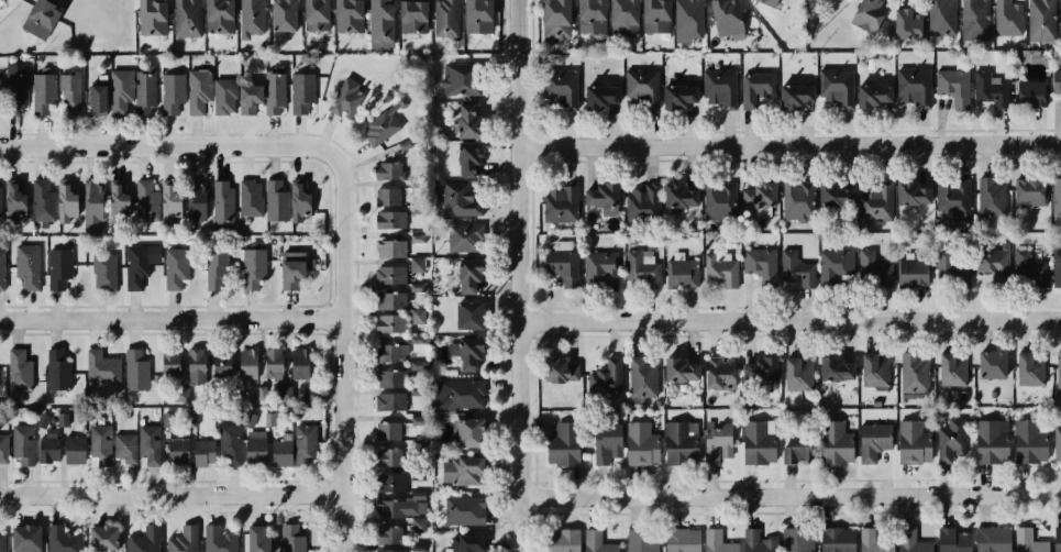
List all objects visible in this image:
building: (772, 2)
building: (863, 14)
building: (278, 15)
building: (311, 15)
building: (474, 15)
building: (217, 16)
building: (246, 16)
building: (411, 16)
building: (723, 16)
building: (147, 18)
building: (185, 18)
building: (345, 18)
building: (443, 18)
building: (651, 18)
building: (37, 19)
building: (551, 19)
building: (620, 19)
building: (588, 20)
building: (683, 20)
building: (1006, 20)
building: (379, 21)
building: (971, 21)
building: (1045, 21)
building: (938, 22)
building: (900, 24)
building: (454, 76)
building: (0, 80)
building: (1058, 80)
building: (640, 85)
building: (832, 86)
building: (951, 86)
building: (557, 87)
building: (718, 87)
building: (911, 87)
building: (143, 89)
building: (597, 89)
building: (870, 89)
building: (987, 89)
building: (169, 90)
building: (196, 90)
building: (273, 90)
building: (675, 90)
building: (14, 91)
building: (120, 91)
building: (758, 91)
building: (793, 92)
building: (1028, 92)
building: (339, 93)
building: (41, 95)
building: (301, 95)
building: (67, 96)
building: (220, 96)
building: (246, 96)
building: (93, 97)
building: (463, 118)
building: (378, 128)
road: (793, 145)
road: (173, 148)
building: (463, 158)
building: (385, 166)
building: (676, 189)
building: (909, 189)
building: (1026, 191)
building: (596, 192)
building: (755, 192)
building: (1058, 194)
building: (795, 196)
building: (298, 197)
building: (385, 197)
building: (458, 197)
building: (993, 197)
building: (114, 198)
building: (195, 198)
building: (247, 198)
building: (830, 198)
building: (274, 199)
building: (14, 200)
building: (40, 200)
building: (152, 200)
building: (219, 200)
building: (638, 200)
building: (718, 200)
building: (951, 200)
building: (64, 201)
building: (559, 201)
building: (170, 202)
building: (870, 205)
building: (90, 206)
building: (0, 209)
building: (387, 221)
building: (462, 235)
building: (388, 249)
building: (756, 263)
building: (1057, 263)
building: (136, 264)
building: (418, 264)
building: (598, 264)
building: (988, 265)
building: (1026, 265)
building: (26, 266)
building: (99, 266)
building: (560, 266)
building: (835, 266)
building: (217, 267)
building: (289, 267)
building: (642, 267)
building: (174, 268)
building: (252, 268)
building: (794, 268)
building: (873, 268)
building: (1, 269)
building: (58, 269)
building: (721, 271)
building: (909, 272)
building: (469, 273)
building: (947, 273)
building: (681, 274)
building: (388, 275)
road: (526, 276)
building: (387, 300)
building: (474, 311)
building: (418, 317)
road: (794, 318)
road: (174, 319)
building: (384, 325)
building: (419, 339)
building: (465, 350)
road: (347, 352)
building: (387, 354)
building: (274, 362)
building: (297, 363)
building: (167, 364)
building: (195, 364)
building: (245, 364)
building: (986, 364)
building: (552, 365)
building: (676, 365)
building: (55, 366)
building: (133, 366)
building: (218, 366)
building: (832, 366)
building: (16, 367)
building: (99, 367)
building: (1025, 367)
building: (756, 368)
building: (876, 368)
building: (949, 368)
building: (1060, 371)
building: (718, 372)
building: (914, 372)
building: (793, 374)
building: (641, 375)
building: (603, 379)
building: (388, 380)
building: (284, 393)
building: (462, 393)
building: (179, 394)
building: (261, 394)
building: (309, 394)
building: (389, 401)
building: (41, 419)
building: (60, 419)
building: (166, 419)
building: (190, 419)
building: (248, 419)
building: (268, 419)
building: (387, 429)
building: (466, 431)
building: (1060, 437)
building: (949, 439)
building: (986, 439)
building: (870, 440)
building: (1027, 440)
building: (605, 441)
building: (637, 441)
building: (717, 441)
building: (832, 441)
building: (910, 441)
building: (300, 442)
building: (676, 442)
building: (759, 442)
building: (225, 443)
building: (100, 444)
building: (557, 444)
building: (21, 445)
building: (71, 446)
building: (123, 446)
building: (147, 446)
building: (794, 446)
building: (47, 448)
building: (252, 448)
building: (2, 450)
building: (176, 451)
building: (200, 452)
building: (278, 452)
building: (386, 455)
building: (460, 472)
building: (388, 482)
road: (794, 494)
road: (174, 495)
building: (401, 504)
building: (461, 510)
building: (399, 528)
building: (252, 533)
building: (388, 534)
building: (98, 538)
building: (144, 538)
building: (219, 538)
building: (290, 538)
building: (639, 538)
building: (25, 539)
building: (59, 539)
building: (795, 539)
building: (835, 539)
building: (873, 539)
building: (951, 539)
building: (990, 539)
building: (1058, 539)
building: (180, 540)
building: (560, 540)
building: (678, 540)
building: (752, 540)
building: (463, 541)
building: (715, 541)
building: (909, 541)
building: (1026, 541)
building: (1, 542)
building: (595, 542)
building: (400, 549)

